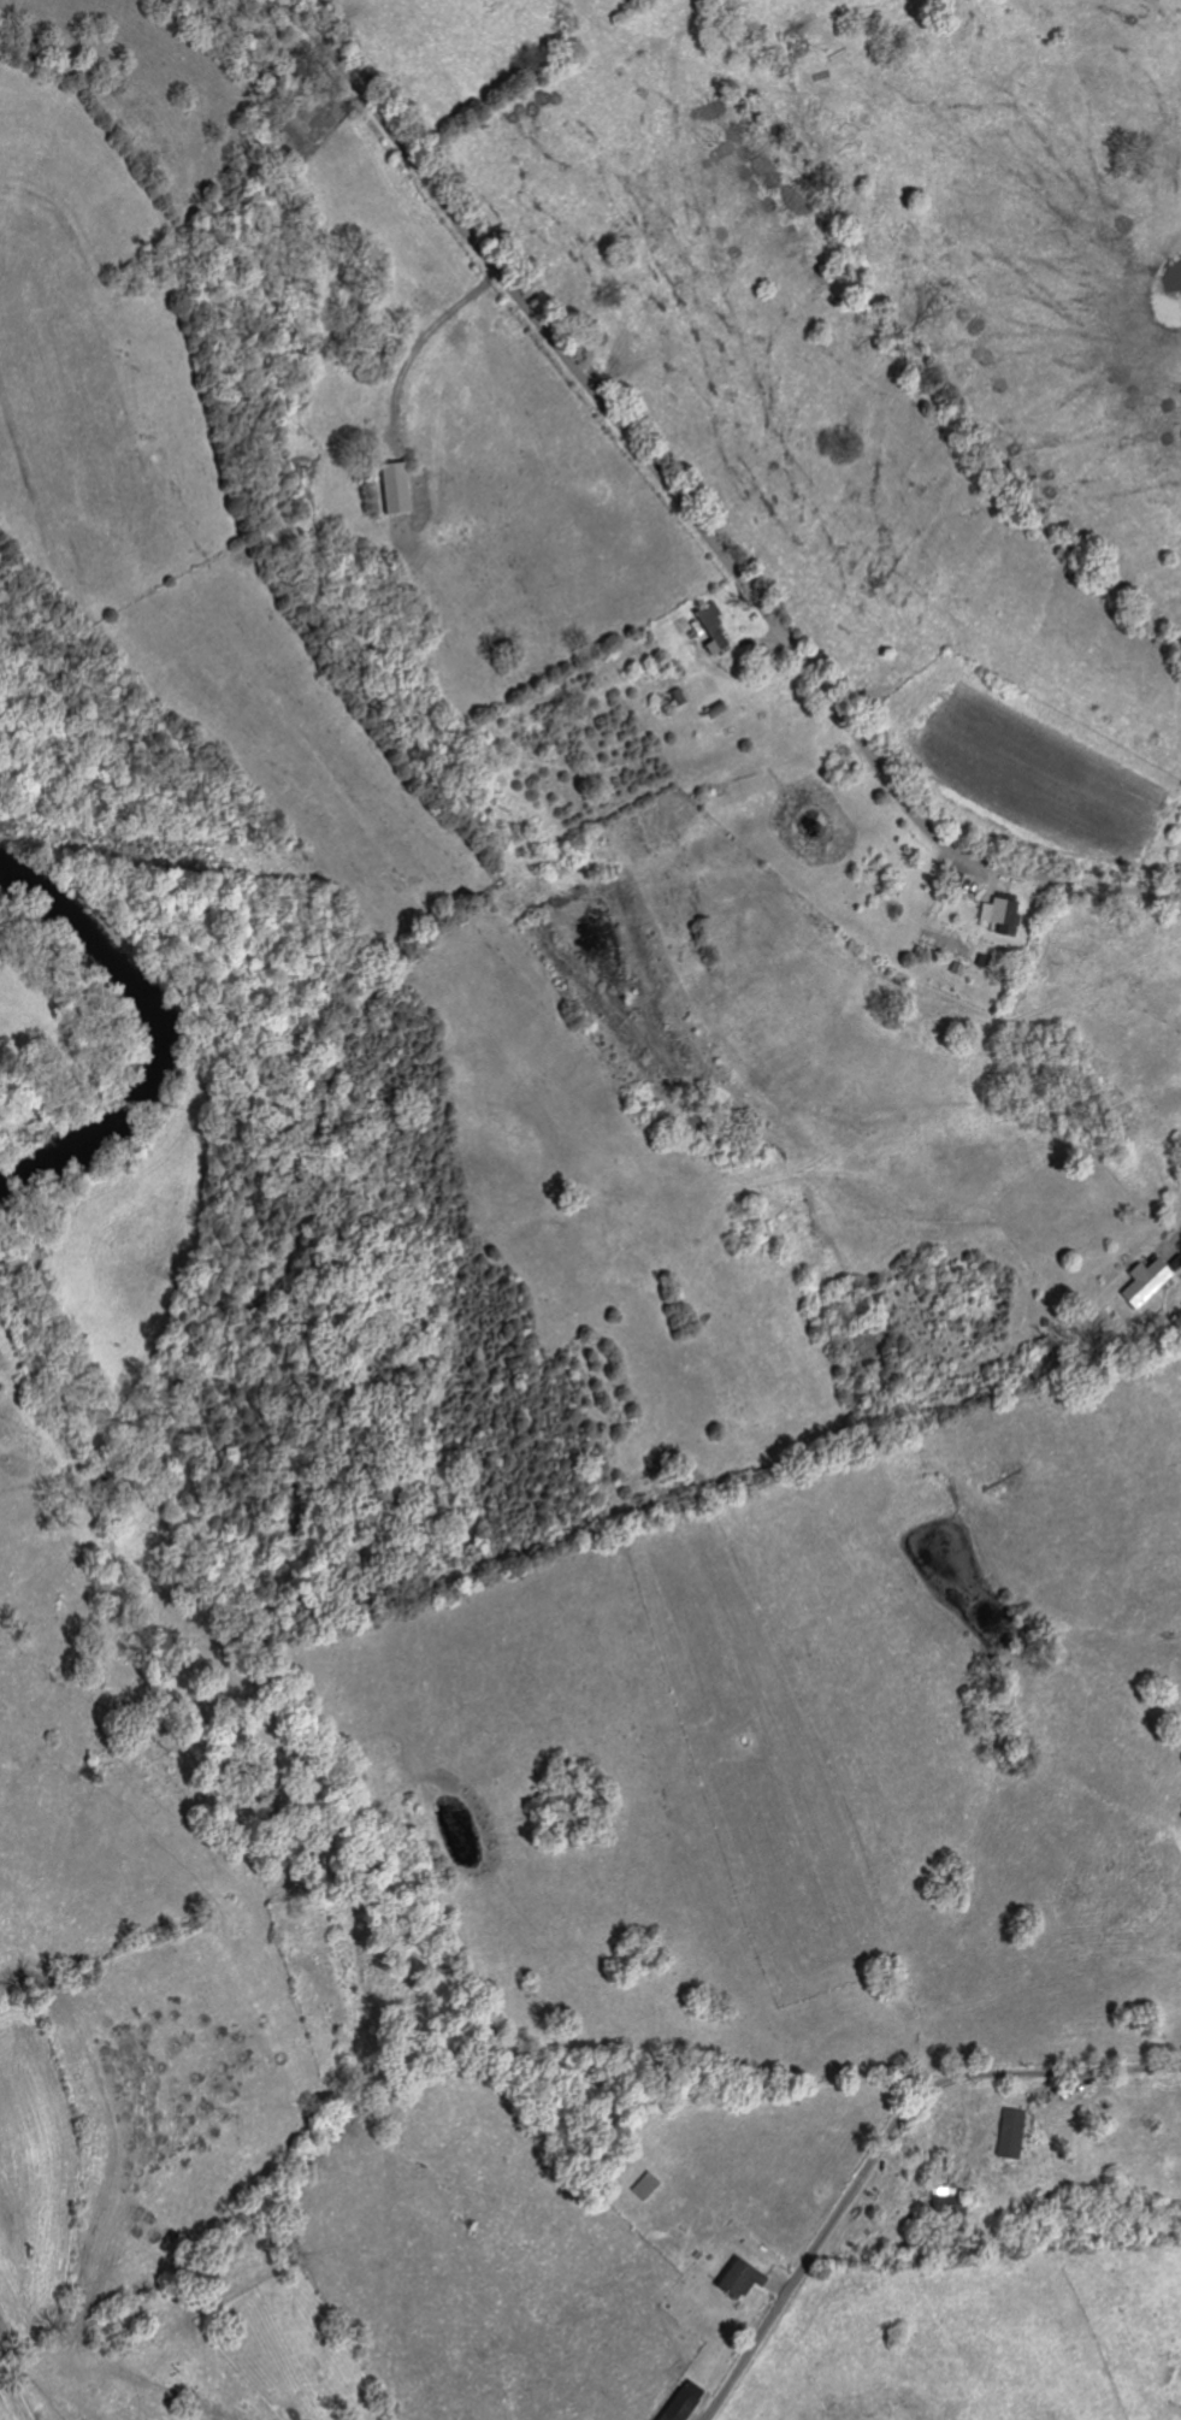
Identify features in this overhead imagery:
road: (424, 340)
building: (402, 489)
road: (689, 513)
building: (719, 631)
building: (1006, 915)
building: (1151, 1282)
building: (1015, 2133)
road: (882, 2145)
building: (650, 2186)
building: (745, 2278)
building: (689, 2402)

